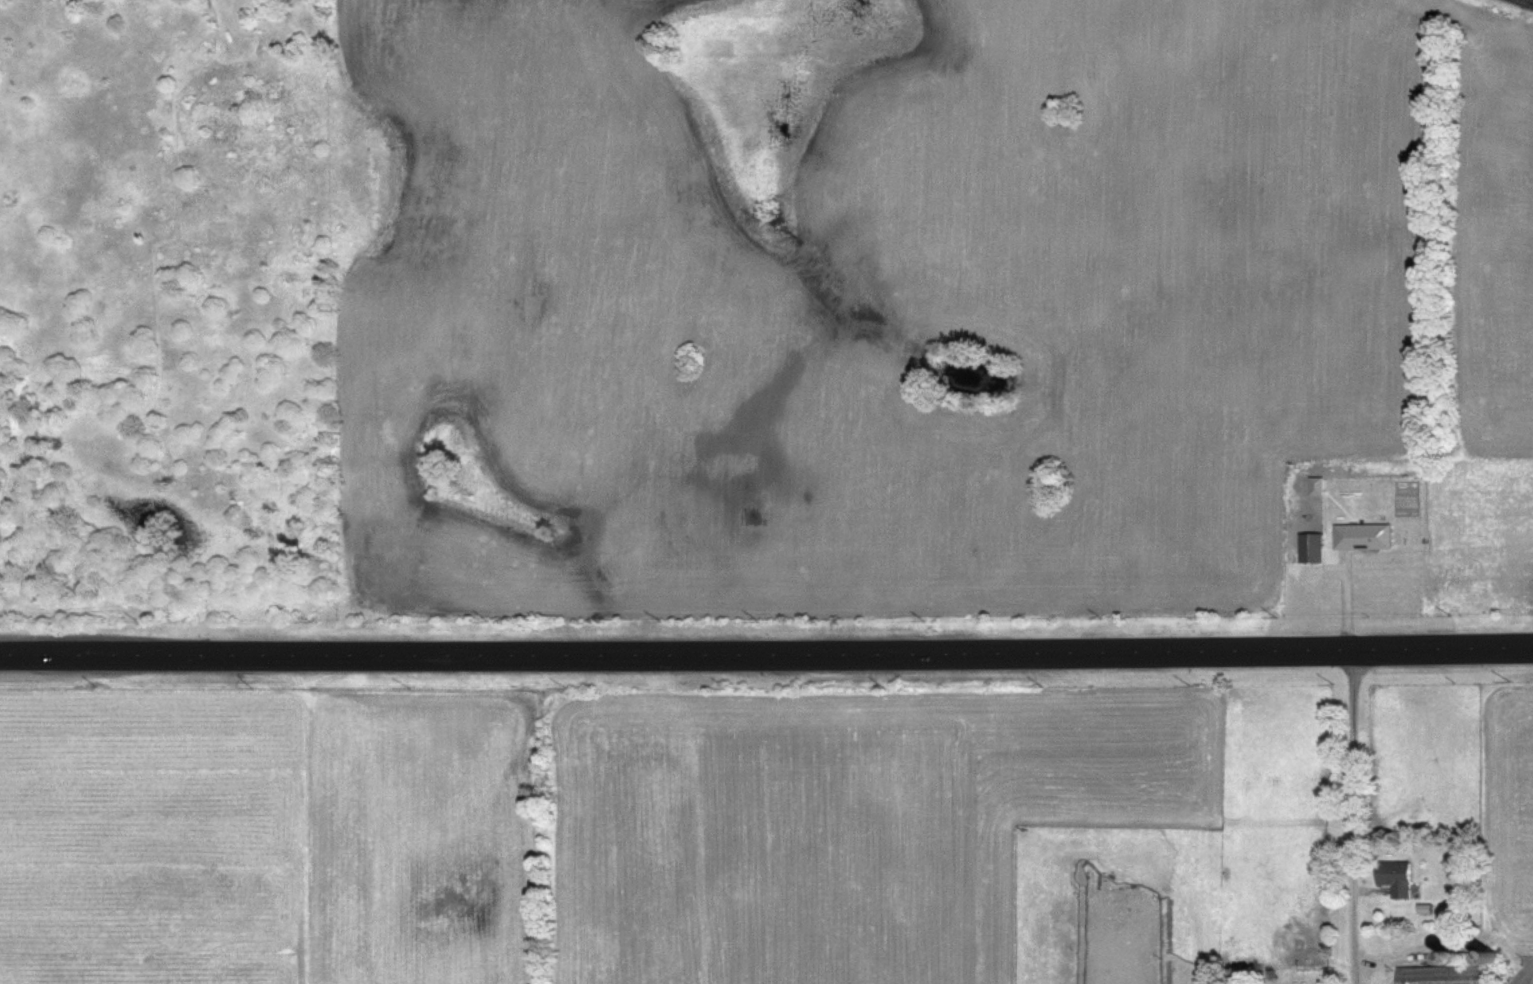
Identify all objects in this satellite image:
road: (1531, 0)
building: (1315, 485)
building: (1362, 535)
road: (1080, 650)
road: (314, 653)
road: (1355, 816)
building: (1394, 876)
building: (1442, 974)

